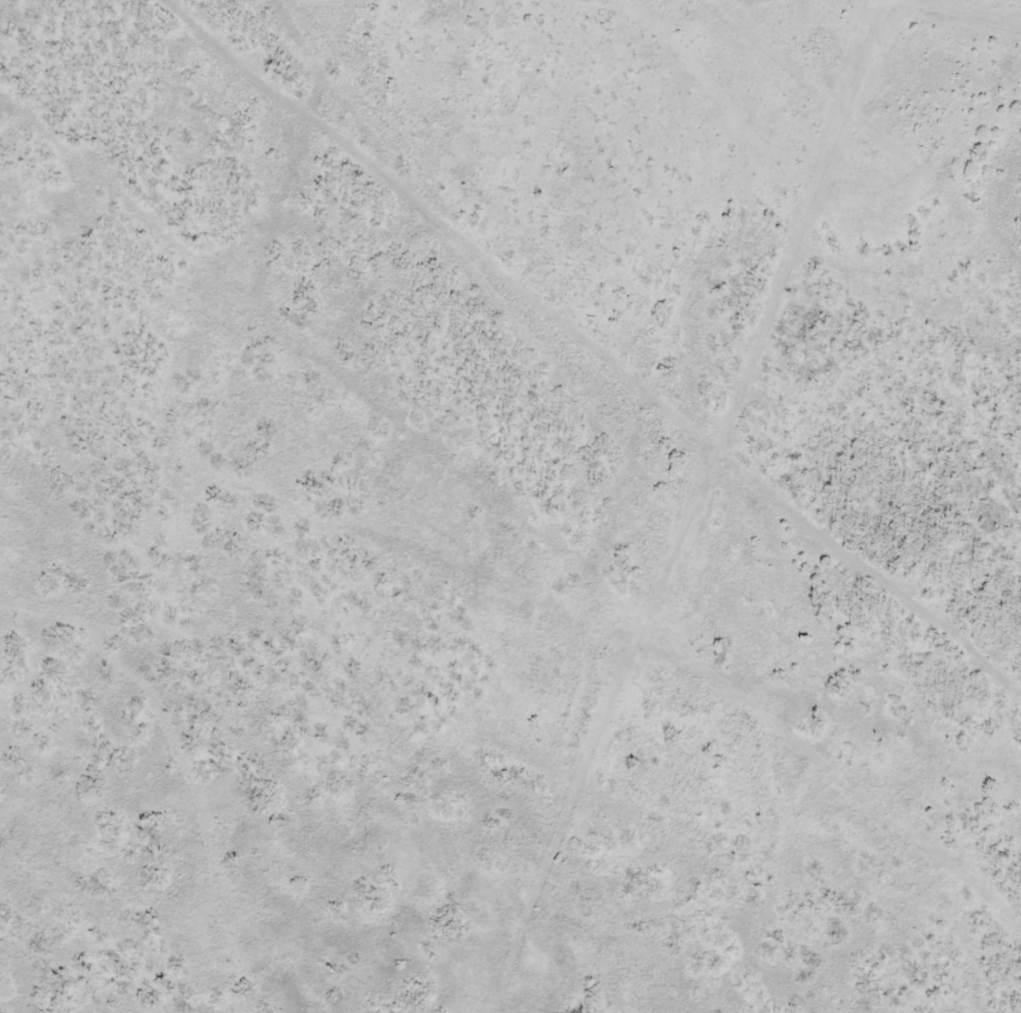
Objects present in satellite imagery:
road: (4, 24)

